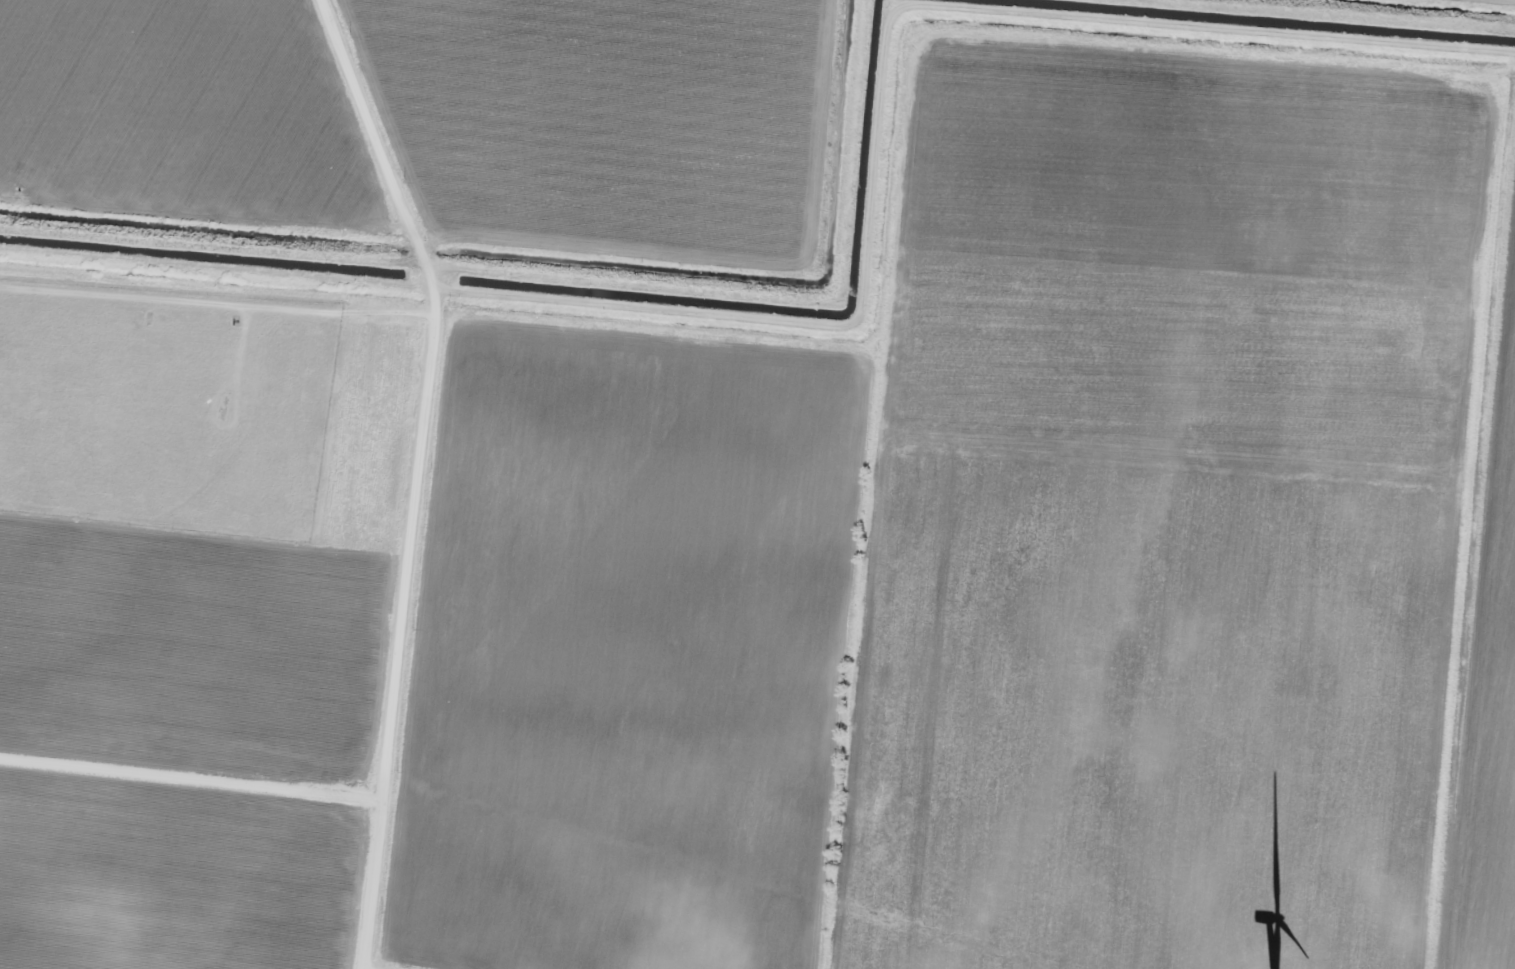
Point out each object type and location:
road: (419, 474)

